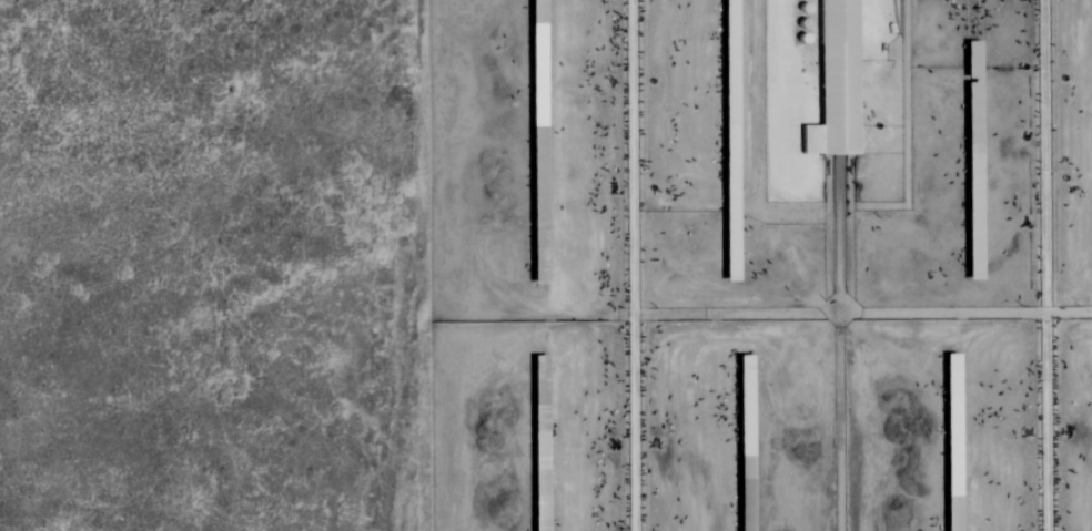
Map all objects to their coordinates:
building: (841, 83)
building: (959, 397)

